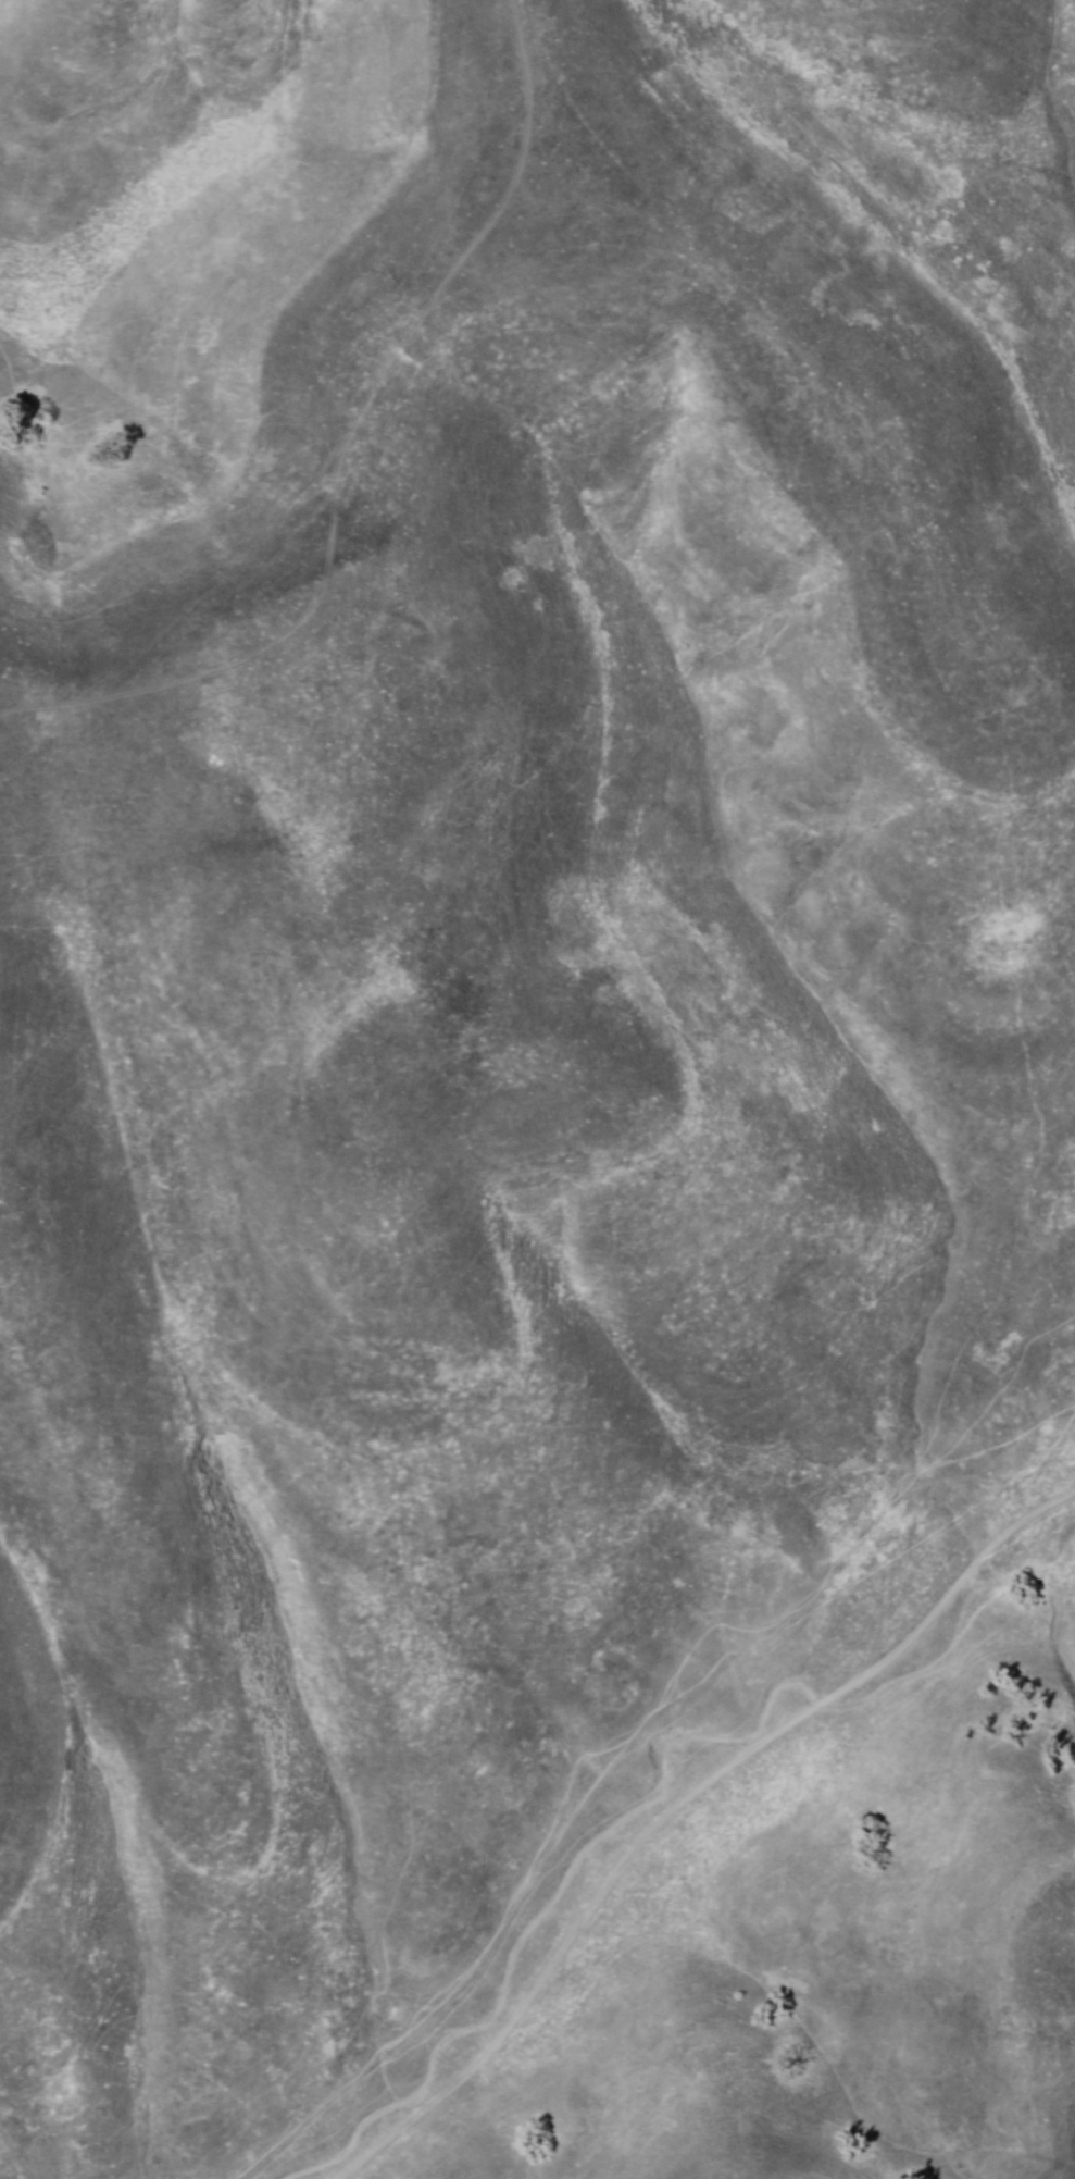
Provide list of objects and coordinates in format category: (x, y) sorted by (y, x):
road: (679, 1805)

